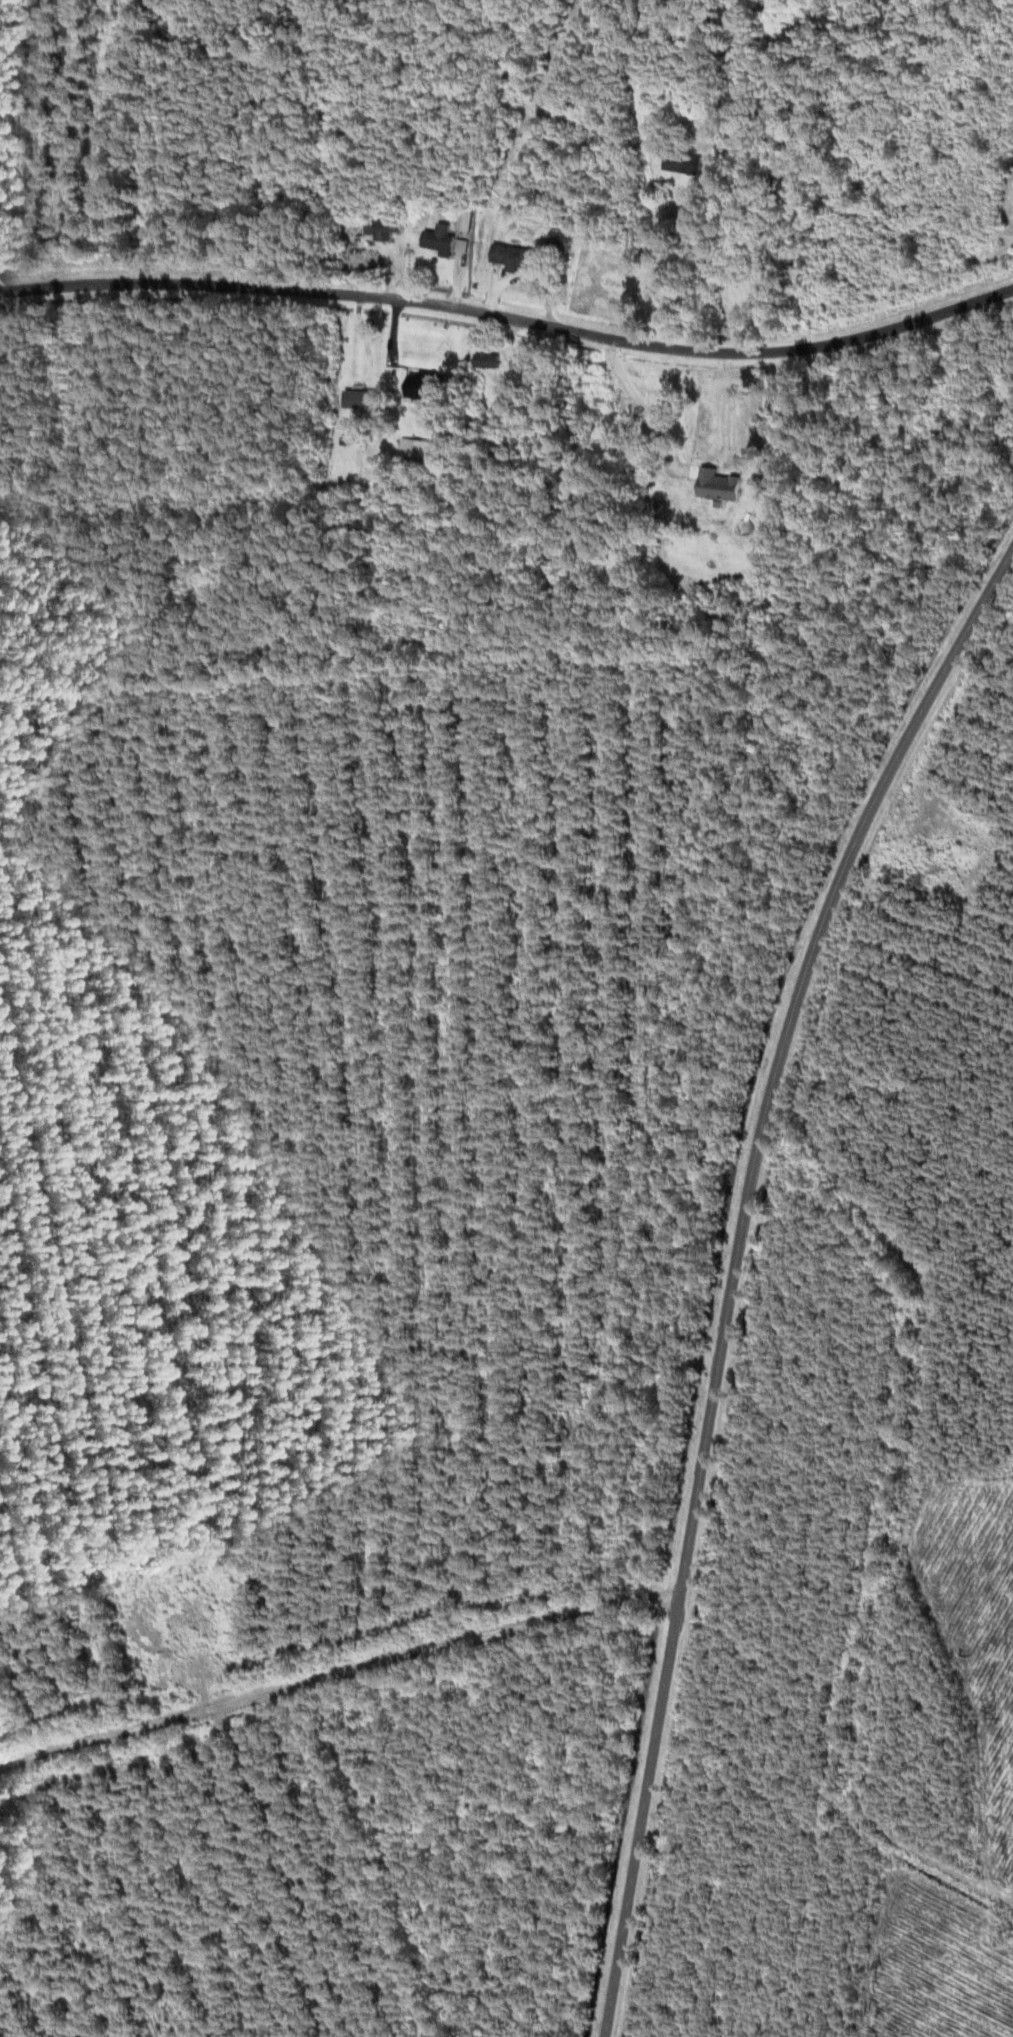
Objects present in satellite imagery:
building: (682, 162)
road: (645, 169)
building: (467, 220)
building: (381, 229)
building: (446, 241)
building: (562, 241)
building: (511, 257)
road: (509, 318)
building: (487, 359)
building: (428, 387)
building: (361, 398)
building: (418, 448)
building: (720, 485)
road: (734, 1268)
road: (335, 1671)

